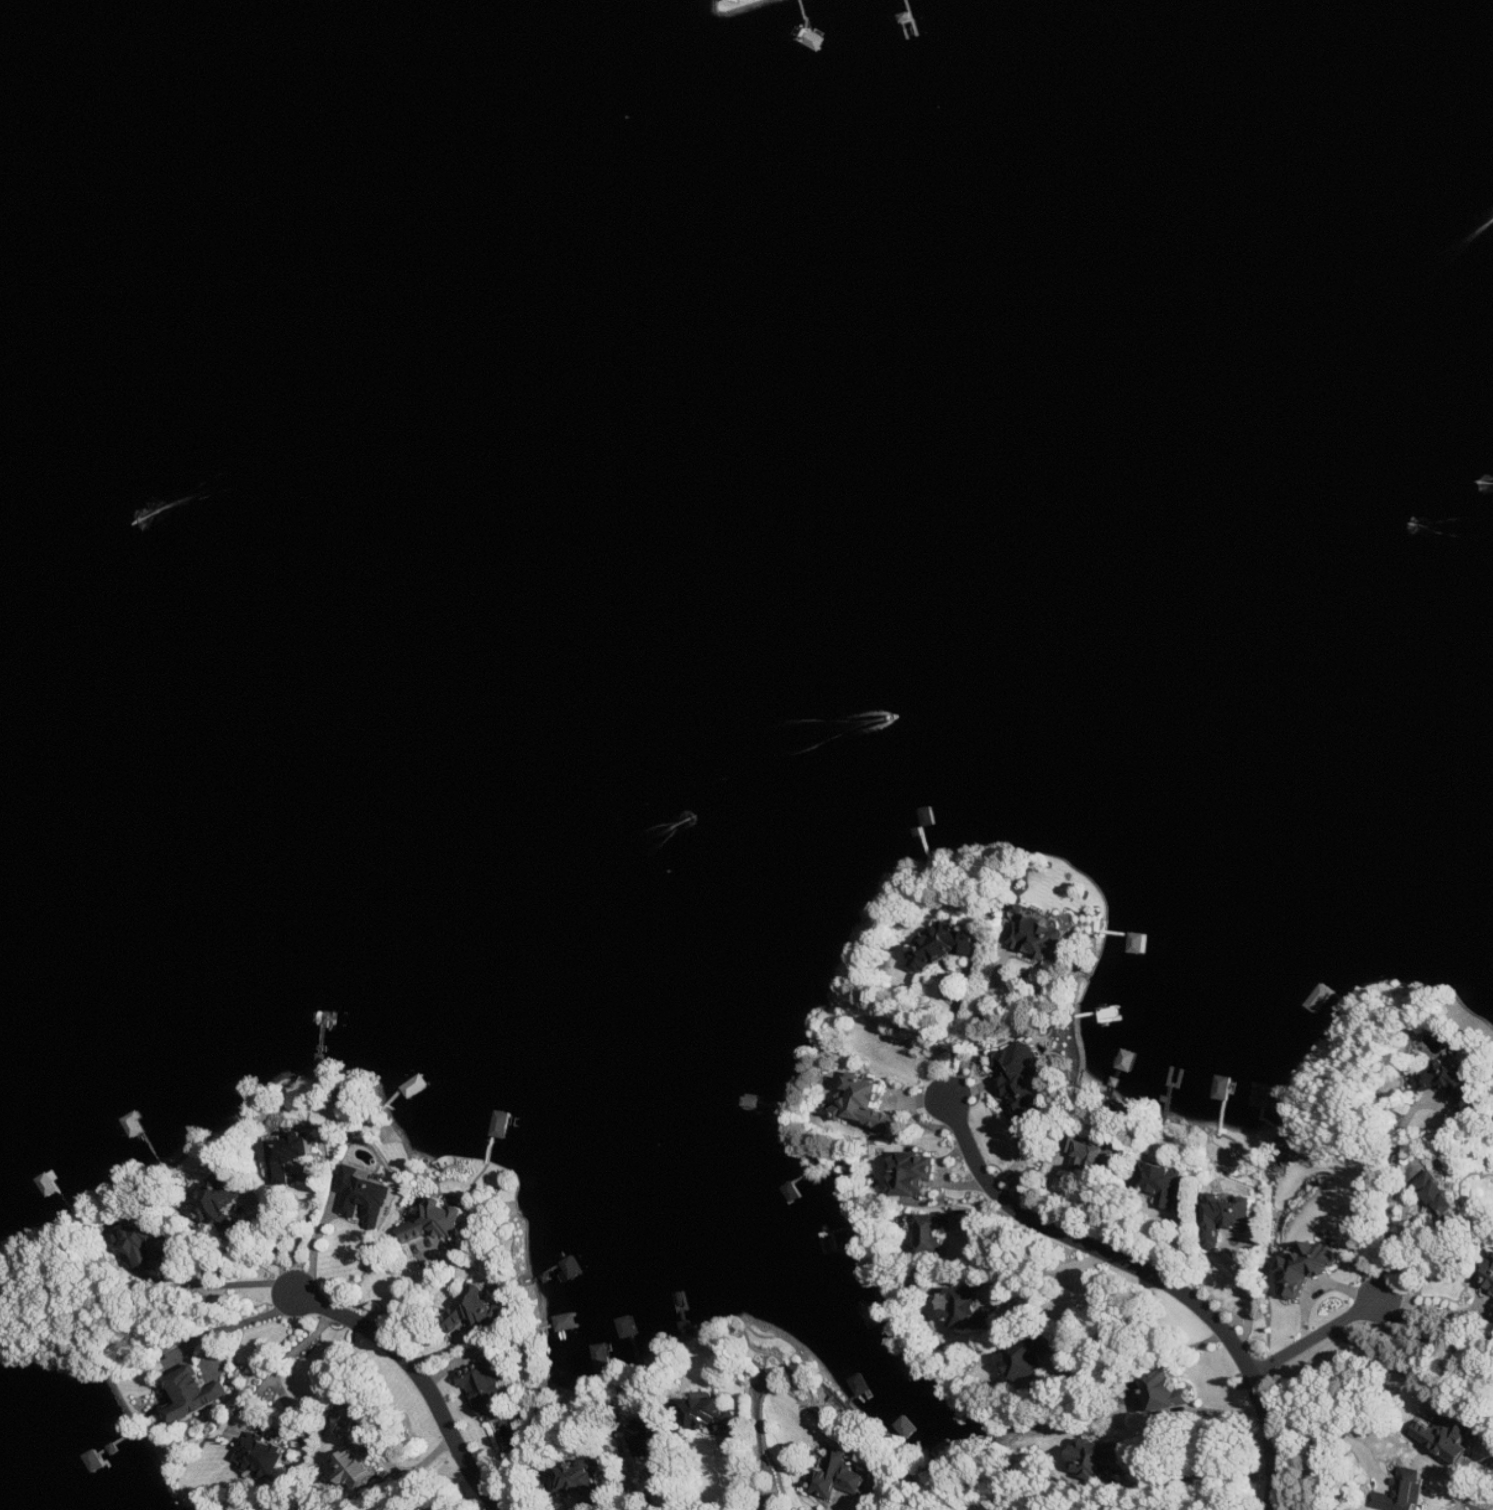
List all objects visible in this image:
river: (768, 453)
building: (1042, 936)
road: (973, 1030)
building: (1024, 1078)
building: (1455, 1083)
building: (867, 1103)
building: (292, 1152)
building: (1098, 1155)
building: (914, 1174)
building: (1163, 1183)
road: (1396, 1193)
building: (367, 1196)
building: (1441, 1197)
building: (223, 1202)
building: (1229, 1216)
building: (441, 1221)
building: (935, 1233)
road: (303, 1238)
road: (317, 1242)
building: (146, 1244)
road: (287, 1246)
building: (1308, 1266)
road: (1051, 1268)
road: (1154, 1274)
building: (1489, 1278)
road: (230, 1287)
road: (414, 1296)
building: (483, 1308)
building: (968, 1308)
road: (1431, 1309)
building: (1492, 1316)
building: (568, 1322)
road: (237, 1323)
road: (1434, 1324)
building: (629, 1326)
road: (1317, 1337)
road: (1425, 1338)
road: (304, 1346)
road: (1158, 1357)
road: (1385, 1358)
building: (1028, 1359)
road: (424, 1378)
building: (1167, 1390)
building: (492, 1392)
building: (197, 1393)
building: (713, 1415)
building: (348, 1420)
road: (1327, 1426)
building: (654, 1434)
building: (1450, 1437)
building: (631, 1448)
building: (265, 1455)
building: (1097, 1458)
building: (360, 1468)
building: (840, 1476)
road: (1206, 1477)
building: (585, 1482)
road: (736, 1484)
road: (636, 1487)
building: (1402, 1497)
road: (496, 1506)

